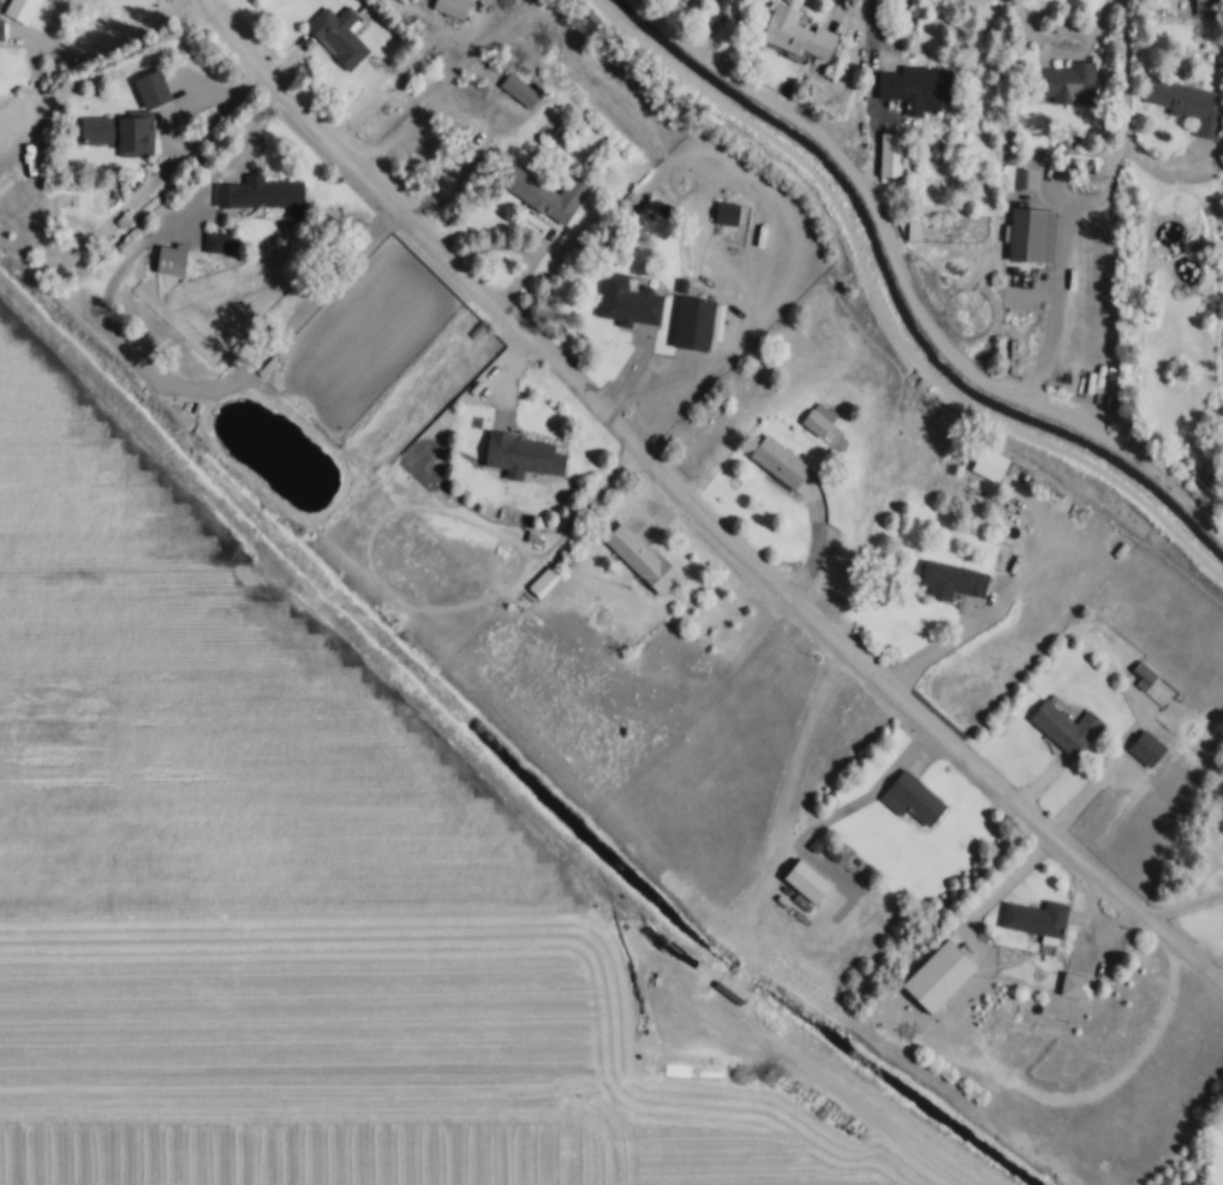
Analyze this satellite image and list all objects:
building: (1205, 6)
road: (35, 17)
building: (0, 30)
building: (794, 32)
building: (338, 36)
road: (1066, 48)
building: (1063, 83)
building: (915, 87)
building: (150, 88)
building: (524, 94)
building: (1187, 105)
road: (1133, 114)
building: (118, 133)
building: (888, 150)
building: (1012, 178)
building: (258, 193)
building: (548, 195)
building: (724, 213)
building: (215, 242)
building: (169, 258)
building: (626, 299)
road: (888, 311)
building: (694, 321)
building: (817, 419)
building: (520, 454)
building: (777, 462)
building: (989, 464)
road: (699, 506)
building: (639, 556)
building: (951, 579)
building: (542, 582)
building: (1143, 672)
building: (1064, 727)
building: (1144, 750)
building: (911, 798)
building: (1034, 918)
building: (935, 975)
building: (1074, 985)

